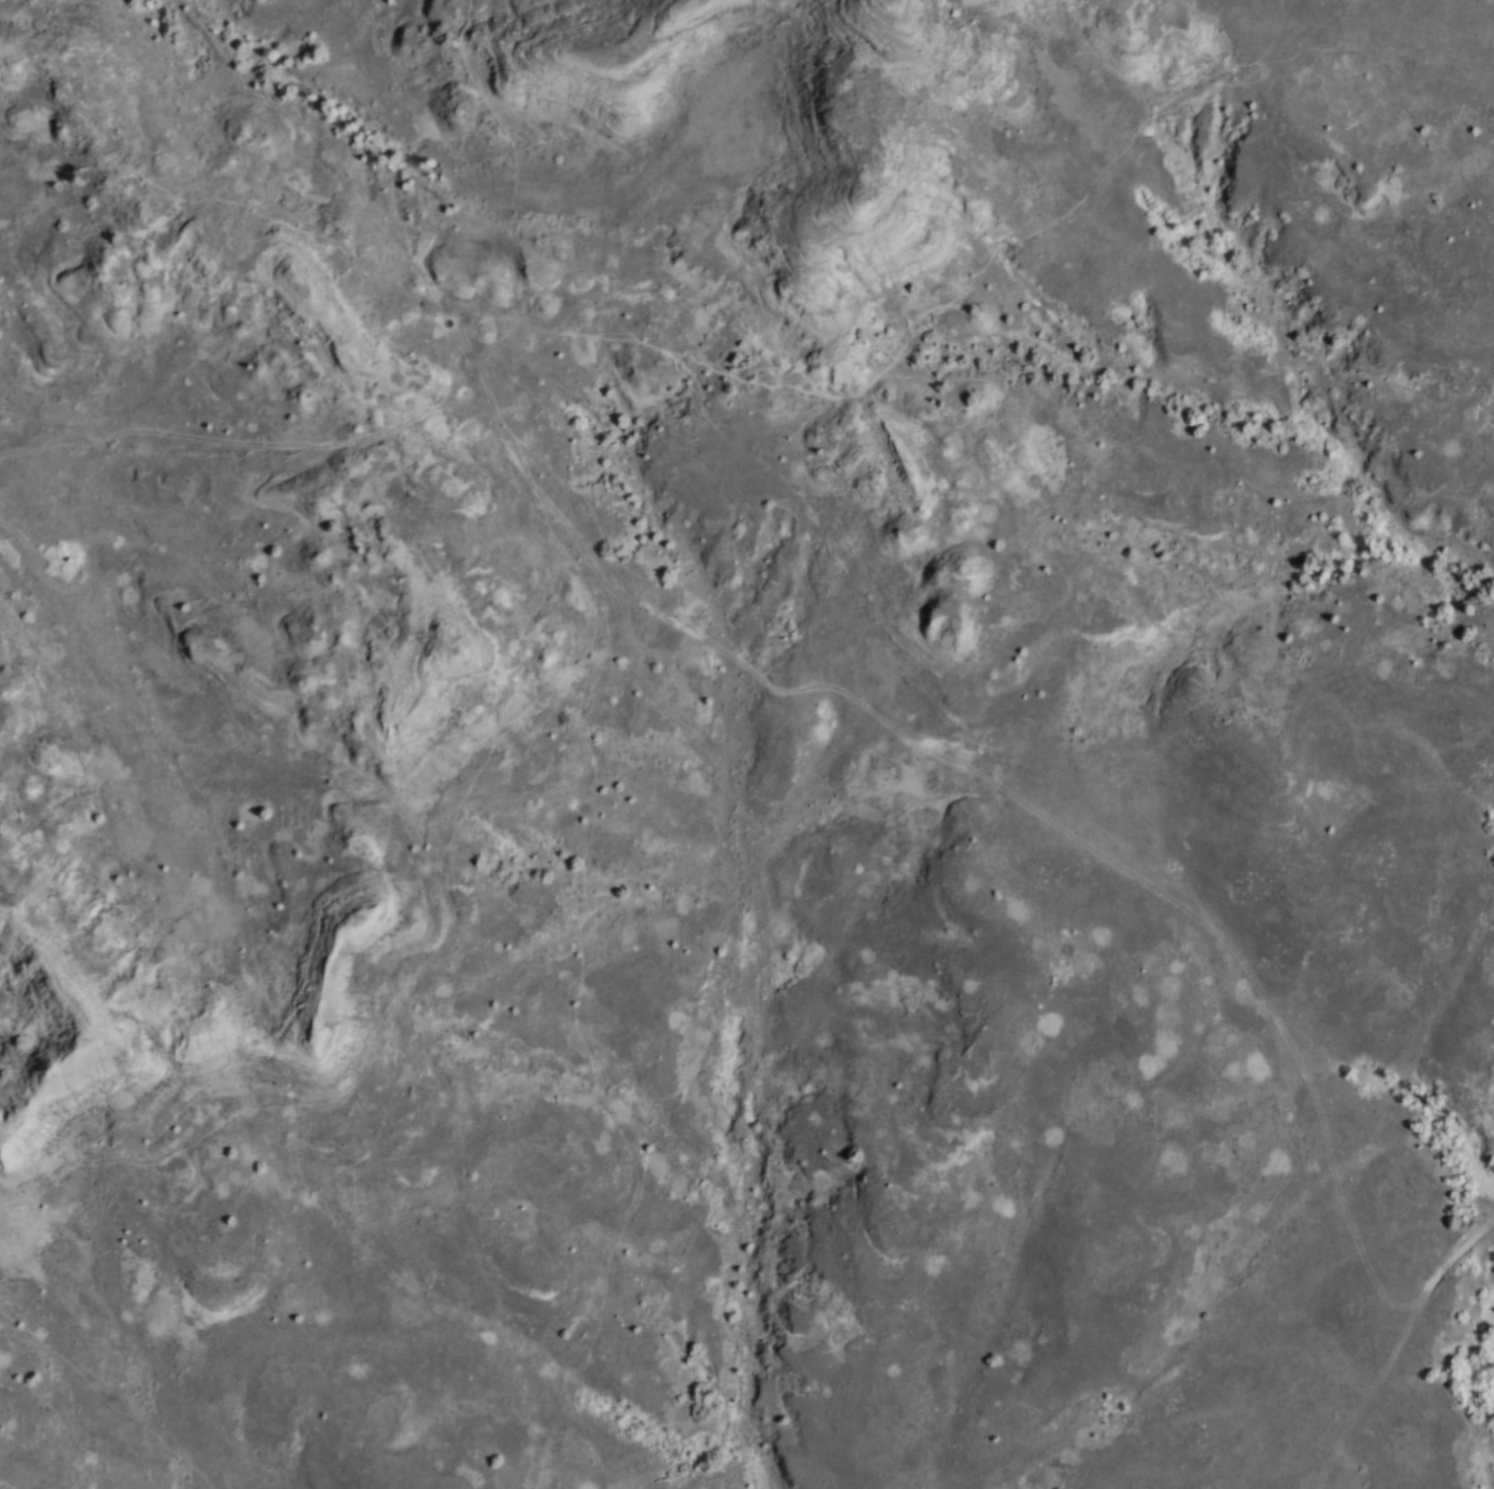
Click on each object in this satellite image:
road: (1398, 1349)

